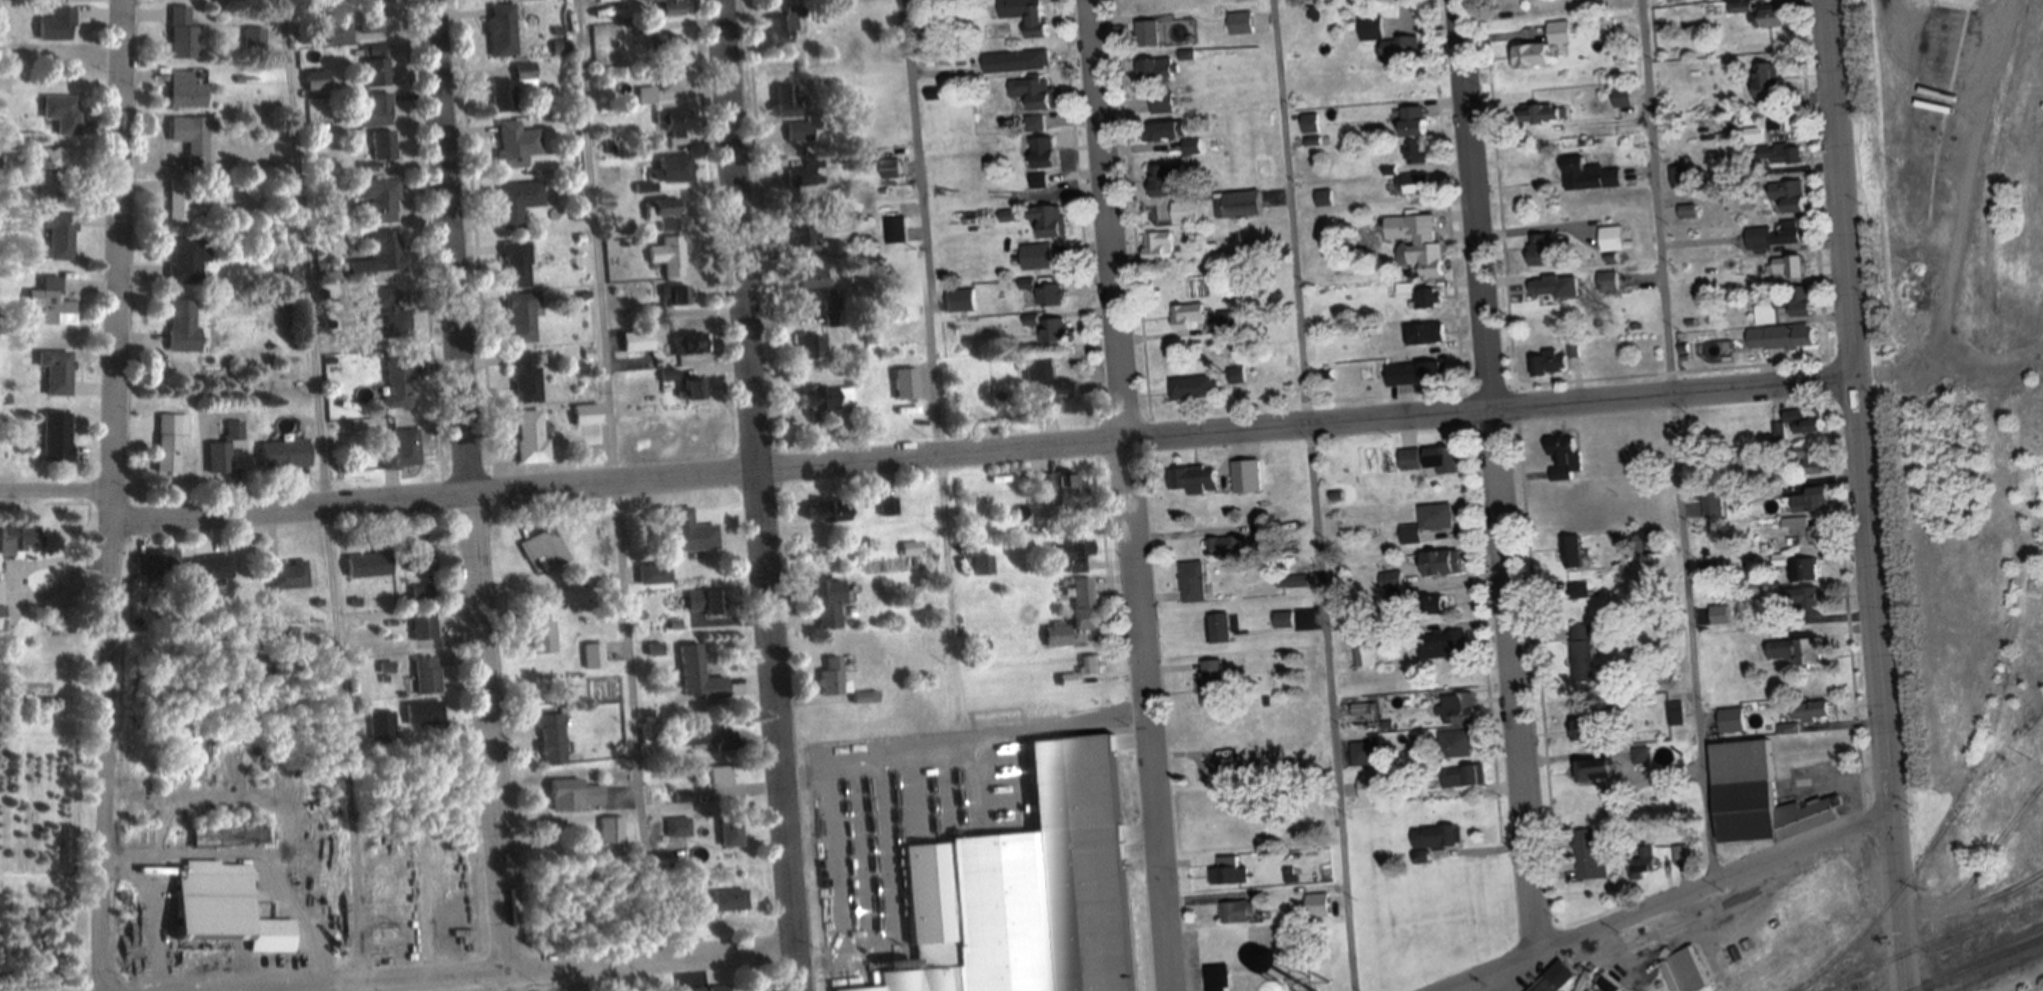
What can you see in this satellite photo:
building: (1675, 0)
building: (54, 1)
building: (1512, 4)
building: (666, 7)
building: (1025, 14)
building: (1771, 17)
building: (1239, 23)
building: (356, 24)
building: (55, 25)
building: (782, 25)
building: (1370, 28)
building: (501, 30)
building: (1147, 33)
building: (181, 34)
building: (253, 39)
building: (661, 44)
building: (1767, 44)
building: (1542, 46)
building: (1015, 62)
building: (375, 66)
building: (1161, 68)
building: (671, 78)
building: (1769, 82)
building: (509, 89)
building: (184, 90)
building: (1033, 92)
building: (1627, 97)
building: (785, 101)
building: (1161, 103)
building: (375, 111)
building: (61, 113)
building: (1543, 114)
building: (675, 122)
building: (1413, 122)
building: (1310, 123)
building: (798, 131)
building: (1167, 131)
building: (189, 138)
building: (515, 145)
building: (382, 146)
building: (1043, 153)
building: (1416, 154)
building: (1782, 154)
building: (57, 161)
building: (889, 169)
building: (671, 170)
building: (807, 173)
building: (1590, 175)
building: (1680, 175)
building: (1165, 181)
building: (1790, 195)
building: (378, 202)
building: (517, 202)
building: (178, 203)
building: (1236, 204)
building: (662, 208)
building: (1687, 211)
building: (1185, 212)
building: (1048, 222)
building: (894, 231)
building: (803, 233)
building: (1777, 235)
building: (1614, 239)
building: (59, 241)
building: (1417, 241)
building: (1158, 245)
building: (1539, 254)
building: (668, 257)
building: (1036, 257)
building: (379, 260)
building: (186, 261)
building: (516, 265)
building: (1790, 268)
building: (809, 280)
building: (1608, 282)
building: (1553, 287)
building: (1050, 295)
building: (676, 296)
building: (1427, 299)
building: (959, 301)
building: (50, 304)
building: (651, 313)
building: (388, 316)
building: (1186, 316)
building: (520, 318)
building: (1784, 322)
building: (182, 326)
building: (1424, 335)
road: (931, 337)
building: (636, 342)
building: (688, 345)
building: (809, 347)
building: (1549, 364)
building: (55, 372)
building: (1397, 375)
building: (526, 378)
building: (906, 384)
building: (397, 385)
building: (693, 389)
building: (1193, 389)
building: (825, 399)
building: (585, 415)
building: (1806, 421)
building: (55, 437)
building: (530, 437)
road: (1674, 440)
building: (169, 442)
road: (982, 447)
building: (402, 451)
building: (286, 454)
building: (222, 458)
building: (1564, 458)
building: (1813, 458)
building: (1427, 460)
road: (1497, 476)
building: (1246, 477)
road: (614, 479)
building: (1195, 481)
road: (466, 486)
road: (56, 491)
road: (322, 491)
building: (1069, 492)
road: (112, 495)
road: (759, 495)
road: (1130, 495)
road: (1309, 495)
road: (1863, 495)
building: (1813, 501)
building: (888, 507)
building: (827, 512)
building: (1427, 523)
railway: (2013, 526)
building: (1805, 531)
building: (689, 533)
building: (17, 541)
building: (1649, 542)
building: (543, 551)
building: (1570, 553)
building: (418, 555)
building: (1076, 555)
building: (166, 559)
building: (368, 564)
building: (983, 564)
building: (1441, 564)
building: (209, 569)
building: (1804, 570)
building: (287, 575)
building: (1192, 583)
building: (1804, 597)
building: (705, 602)
building: (827, 602)
building: (1084, 604)
building: (0, 605)
building: (1431, 606)
building: (1720, 615)
building: (1282, 620)
building: (422, 627)
building: (1219, 629)
building: (541, 632)
building: (1057, 636)
building: (1441, 645)
building: (1783, 651)
building: (1583, 653)
building: (1813, 653)
building: (1363, 655)
building: (593, 656)
building: (1090, 665)
building: (697, 675)
building: (425, 676)
building: (833, 679)
building: (1069, 680)
building: (1211, 684)
building: (1463, 709)
building: (1359, 710)
building: (1812, 711)
building: (1675, 713)
building: (423, 714)
building: (1731, 721)
building: (381, 723)
building: (697, 735)
building: (551, 739)
building: (1455, 744)
building: (1362, 754)
building: (726, 777)
building: (1463, 777)
building: (1372, 787)
building: (574, 795)
building: (1762, 798)
building: (676, 827)
building: (610, 830)
building: (730, 832)
building: (227, 836)
building: (1436, 838)
building: (1588, 857)
building: (1641, 868)
building: (1228, 872)
building: (1025, 890)
building: (728, 901)
road: (1662, 901)
building: (691, 904)
building: (1316, 905)
building: (224, 909)
building: (1237, 913)
railway: (1931, 942)
building: (1963, 949)
building: (1737, 952)
railway: (1979, 965)
road: (528, 970)
building: (1685, 970)
building: (1216, 978)
building: (1549, 983)
building: (1318, 984)
building: (719, 988)
building: (689, 989)
building: (1595, 989)

